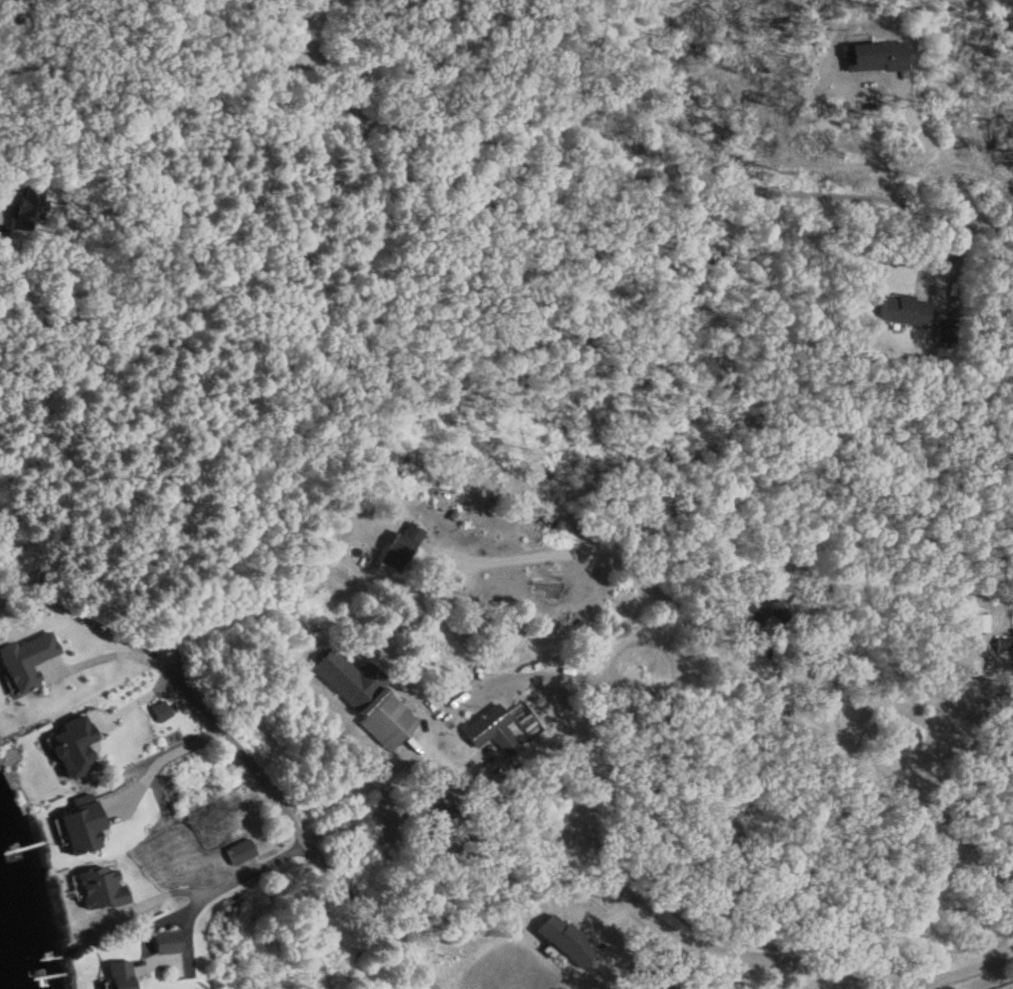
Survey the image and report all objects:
building: (873, 56)
road: (882, 100)
road: (604, 159)
road: (858, 197)
building: (24, 207)
building: (903, 309)
building: (944, 329)
building: (399, 545)
building: (757, 616)
building: (1005, 642)
road: (125, 654)
building: (25, 659)
road: (752, 682)
building: (363, 697)
building: (489, 730)
road: (951, 731)
road: (155, 753)
road: (492, 799)
building: (427, 808)
building: (81, 827)
road: (301, 836)
road: (219, 884)
building: (99, 887)
road: (174, 913)
building: (564, 940)
building: (165, 942)
road: (480, 949)
road: (772, 964)
building: (118, 975)
building: (640, 978)
road: (917, 985)

